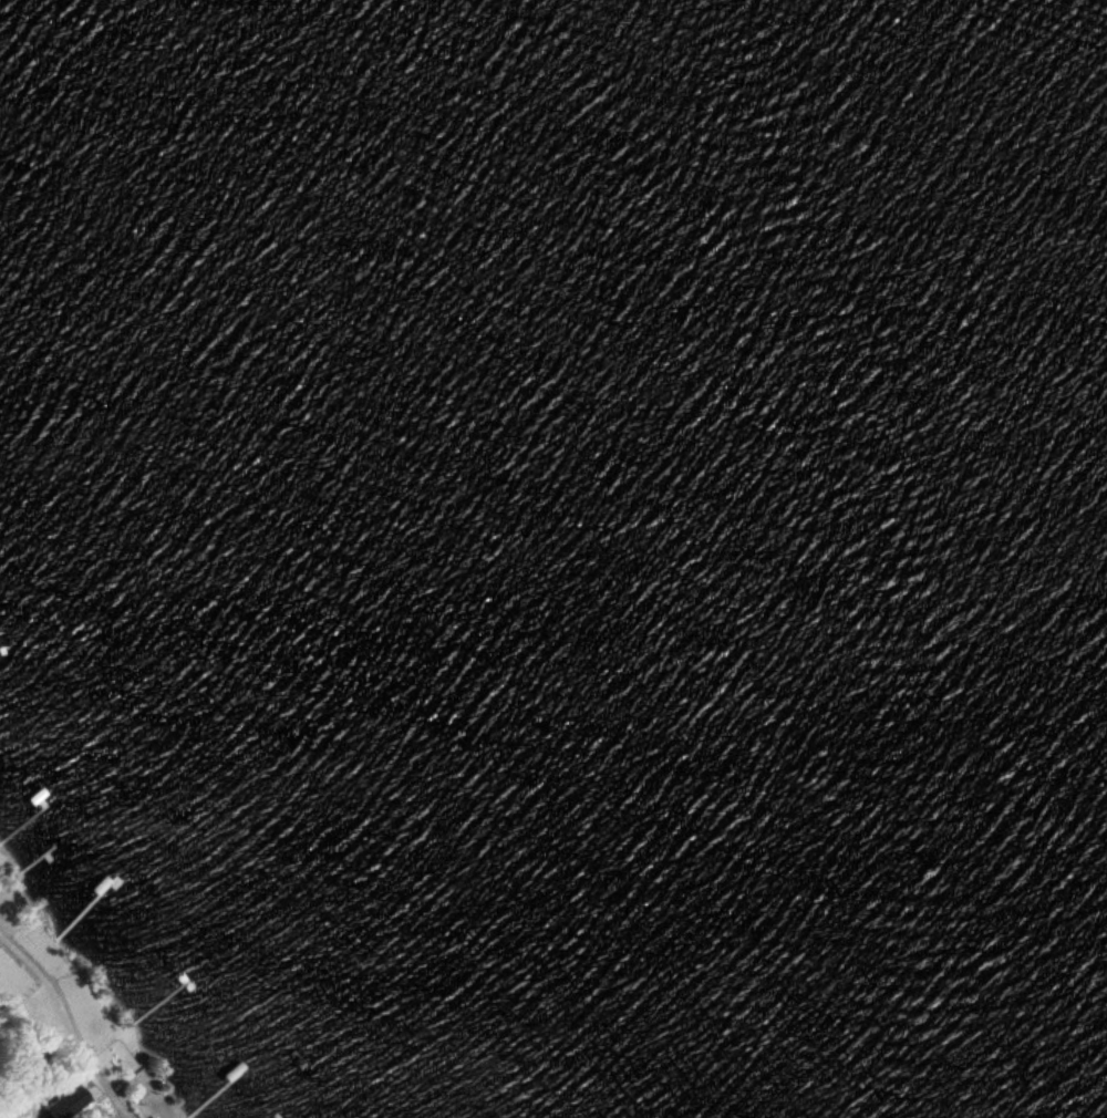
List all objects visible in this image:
road: (69, 1023)

